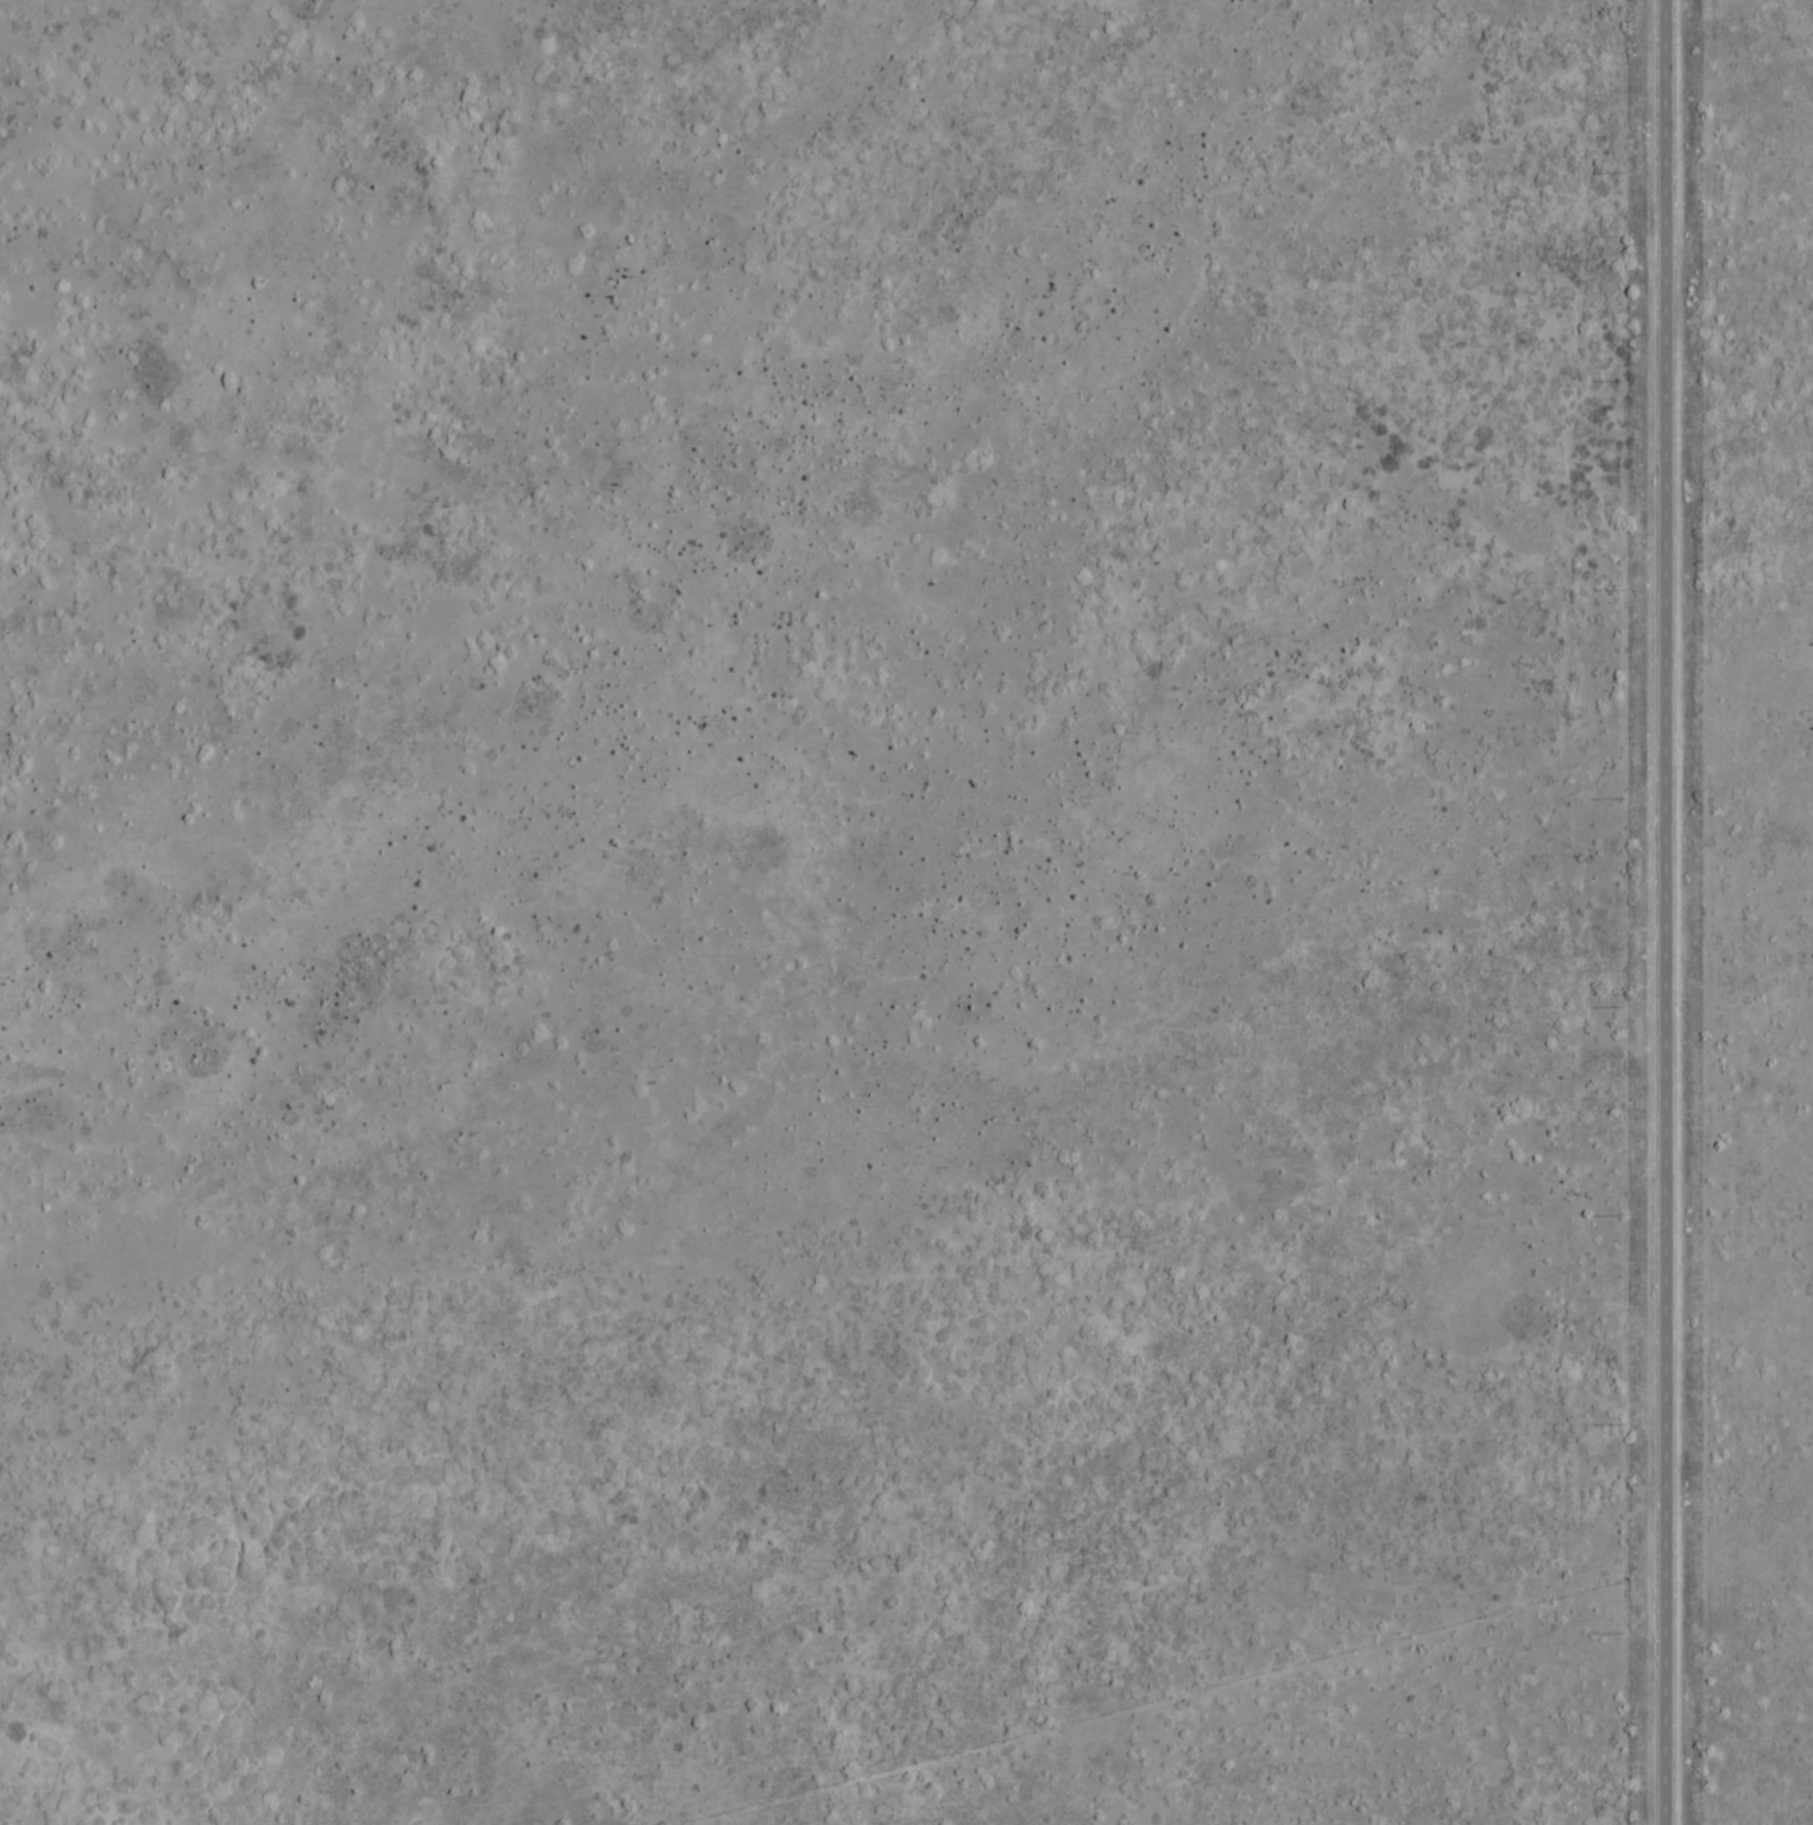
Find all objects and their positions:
road: (1683, 912)

